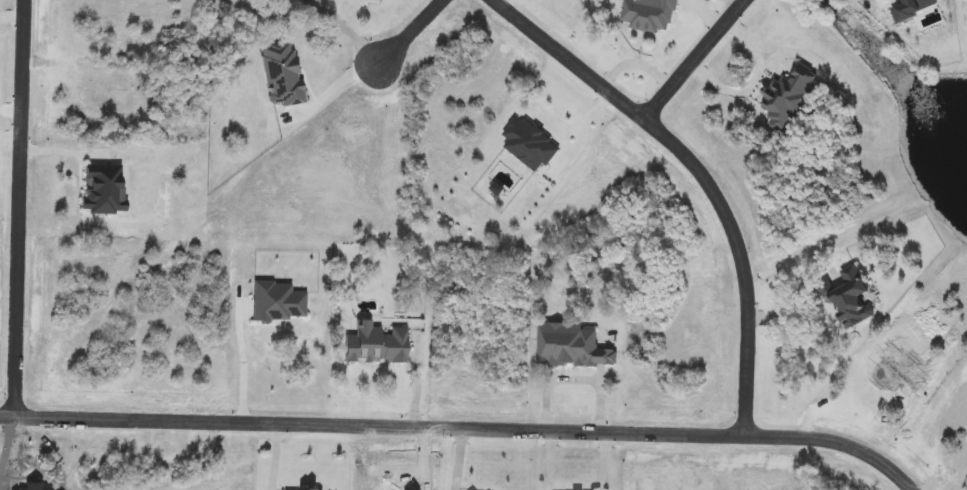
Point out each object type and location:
building: (647, 15)
road: (407, 33)
road: (694, 59)
road: (329, 85)
road: (701, 175)
road: (18, 209)
road: (238, 370)
road: (462, 429)

